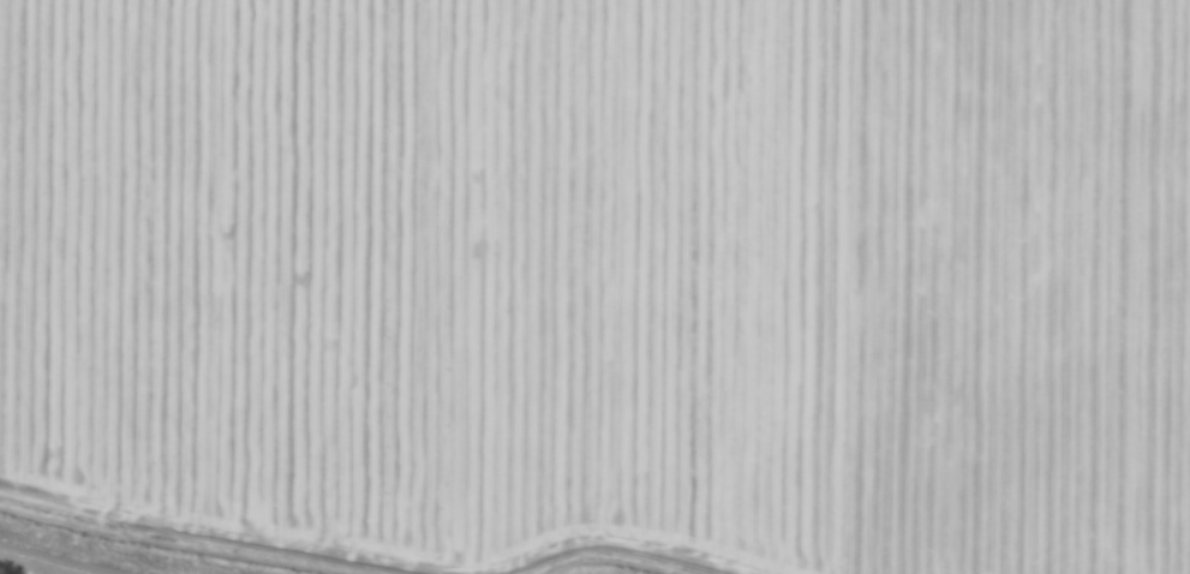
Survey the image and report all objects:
road: (56, 557)

